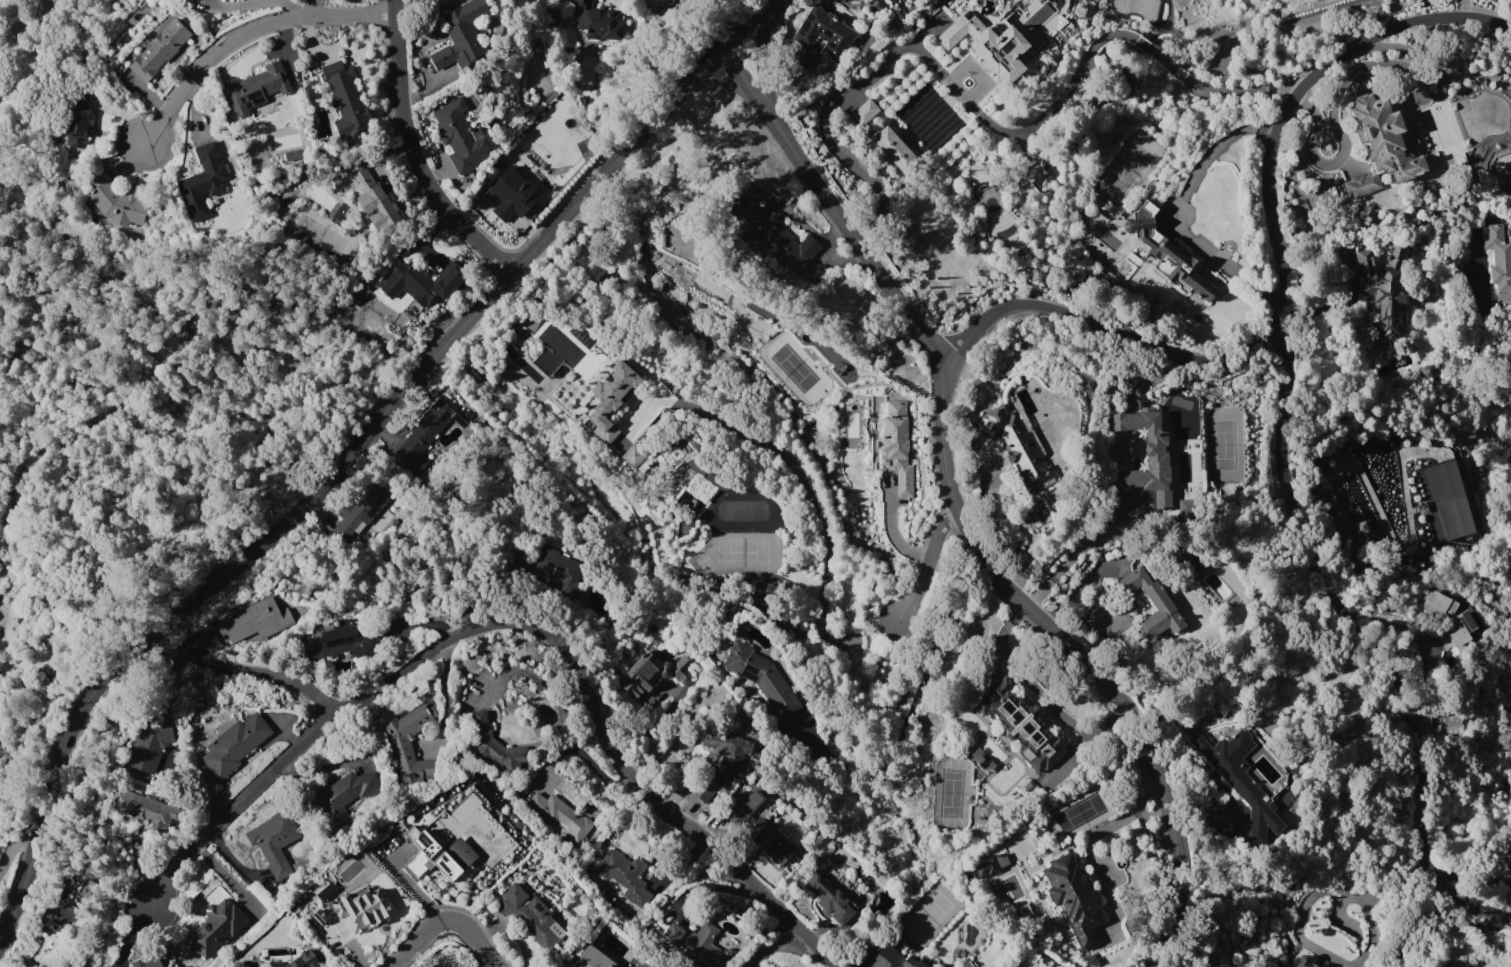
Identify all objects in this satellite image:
building: (670, 1)
building: (598, 20)
building: (553, 21)
road: (247, 35)
building: (462, 36)
building: (837, 38)
building: (988, 44)
road: (758, 48)
building: (159, 50)
road: (717, 82)
building: (255, 88)
road: (1292, 94)
building: (345, 100)
building: (864, 112)
road: (983, 115)
building: (77, 120)
building: (461, 136)
road: (1220, 142)
building: (1381, 144)
road: (416, 151)
building: (894, 151)
building: (203, 182)
building: (512, 193)
building: (372, 198)
building: (118, 201)
road: (833, 207)
building: (773, 234)
building: (1173, 258)
building: (1498, 258)
building: (424, 281)
building: (1382, 288)
road: (1107, 328)
building: (609, 400)
building: (423, 434)
building: (896, 446)
building: (1022, 448)
building: (632, 455)
road: (346, 456)
building: (1146, 460)
road: (803, 484)
building: (360, 509)
road: (891, 529)
building: (1348, 531)
road: (1070, 556)
road: (926, 564)
building: (558, 565)
building: (1153, 603)
building: (1450, 617)
building: (254, 621)
road: (881, 630)
road: (850, 641)
road: (1371, 644)
building: (345, 645)
road: (1083, 657)
road: (233, 670)
building: (644, 672)
building: (762, 679)
road: (1039, 692)
road: (601, 717)
building: (1022, 722)
building: (151, 739)
building: (235, 744)
building: (409, 744)
building: (497, 746)
building: (730, 755)
building: (1240, 778)
building: (705, 787)
building: (346, 796)
building: (747, 806)
building: (142, 807)
building: (465, 807)
road: (239, 813)
building: (561, 816)
building: (770, 840)
building: (274, 842)
building: (439, 854)
building: (1509, 862)
building: (987, 868)
building: (625, 876)
building: (966, 877)
building: (327, 891)
building: (830, 898)
building: (1074, 898)
building: (361, 908)
building: (531, 916)
building: (319, 917)
road: (448, 919)
building: (215, 928)
building: (62, 941)
building: (696, 942)
building: (889, 957)
building: (593, 959)
building: (297, 961)
building: (1304, 961)
building: (147, 963)
building: (966, 964)

